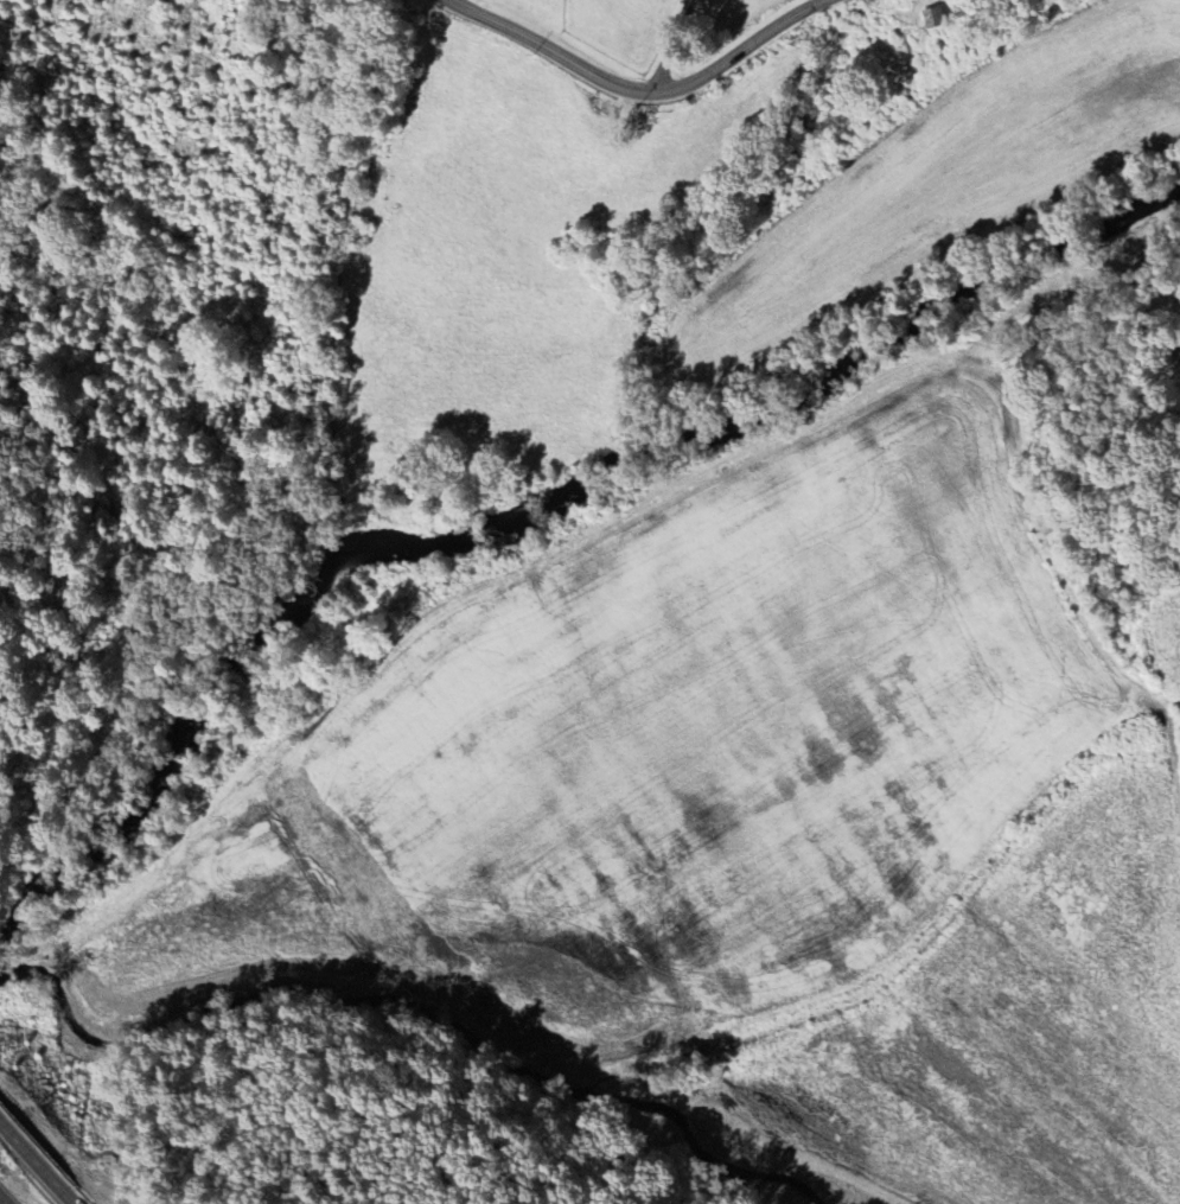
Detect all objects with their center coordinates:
building: (932, 20)
road: (668, 49)
road: (638, 101)
road: (38, 1162)
road: (1, 1202)

